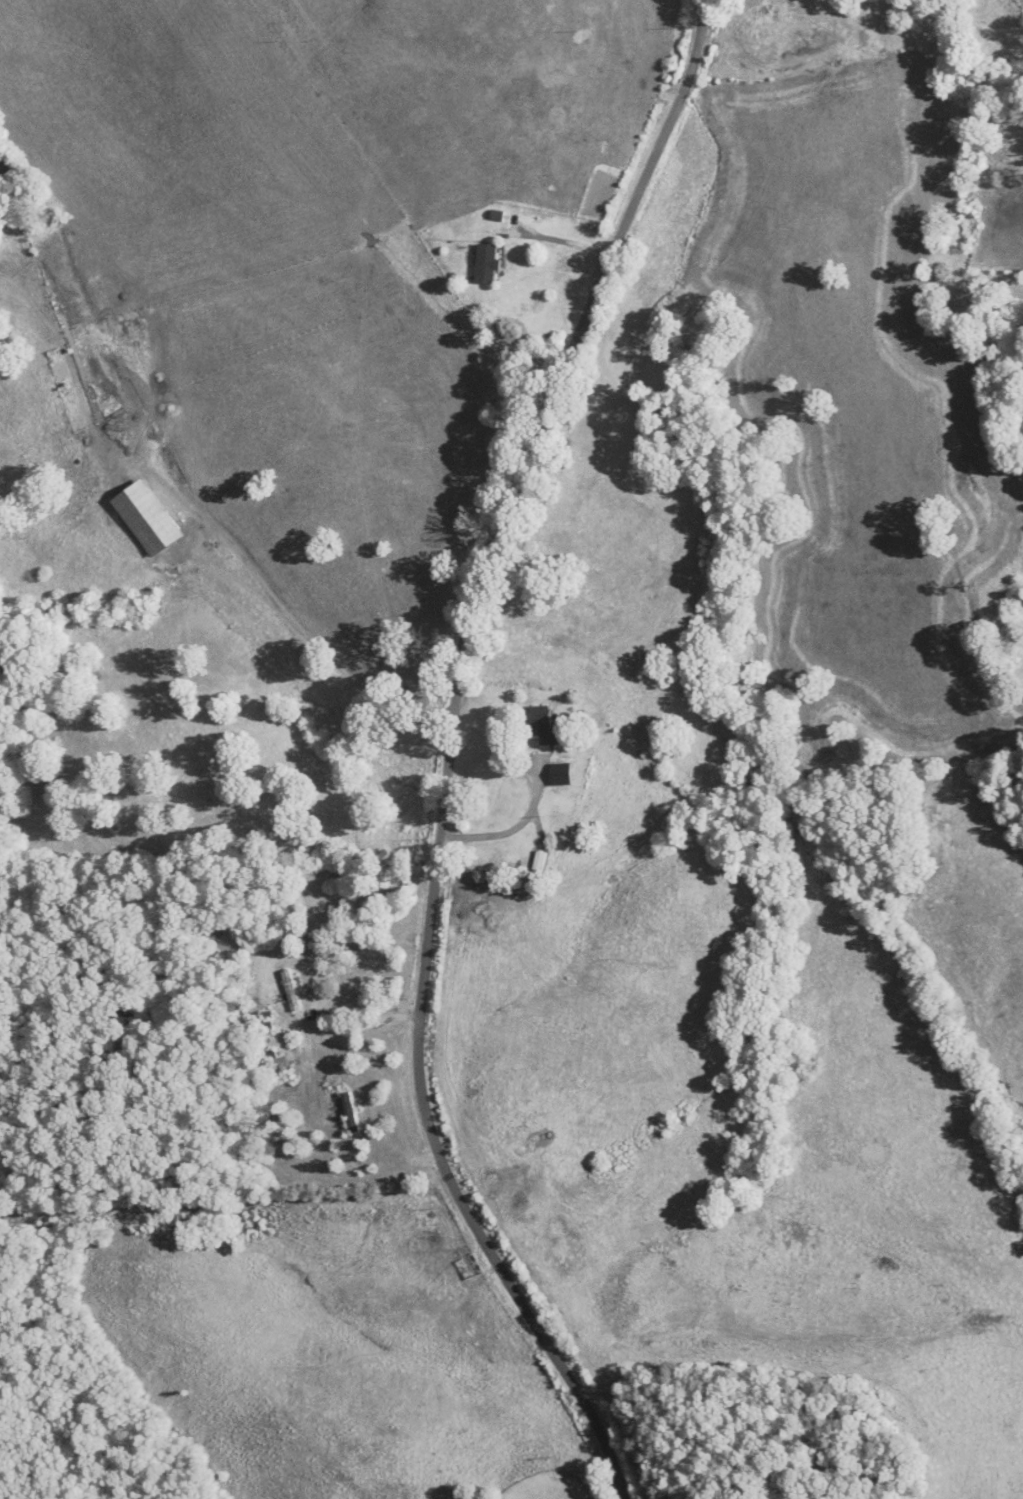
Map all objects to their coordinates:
road: (556, 239)
building: (487, 263)
building: (147, 518)
building: (541, 724)
road: (450, 752)
building: (562, 774)
road: (509, 829)
building: (541, 860)
building: (291, 991)
building: (279, 1063)
building: (349, 1113)

